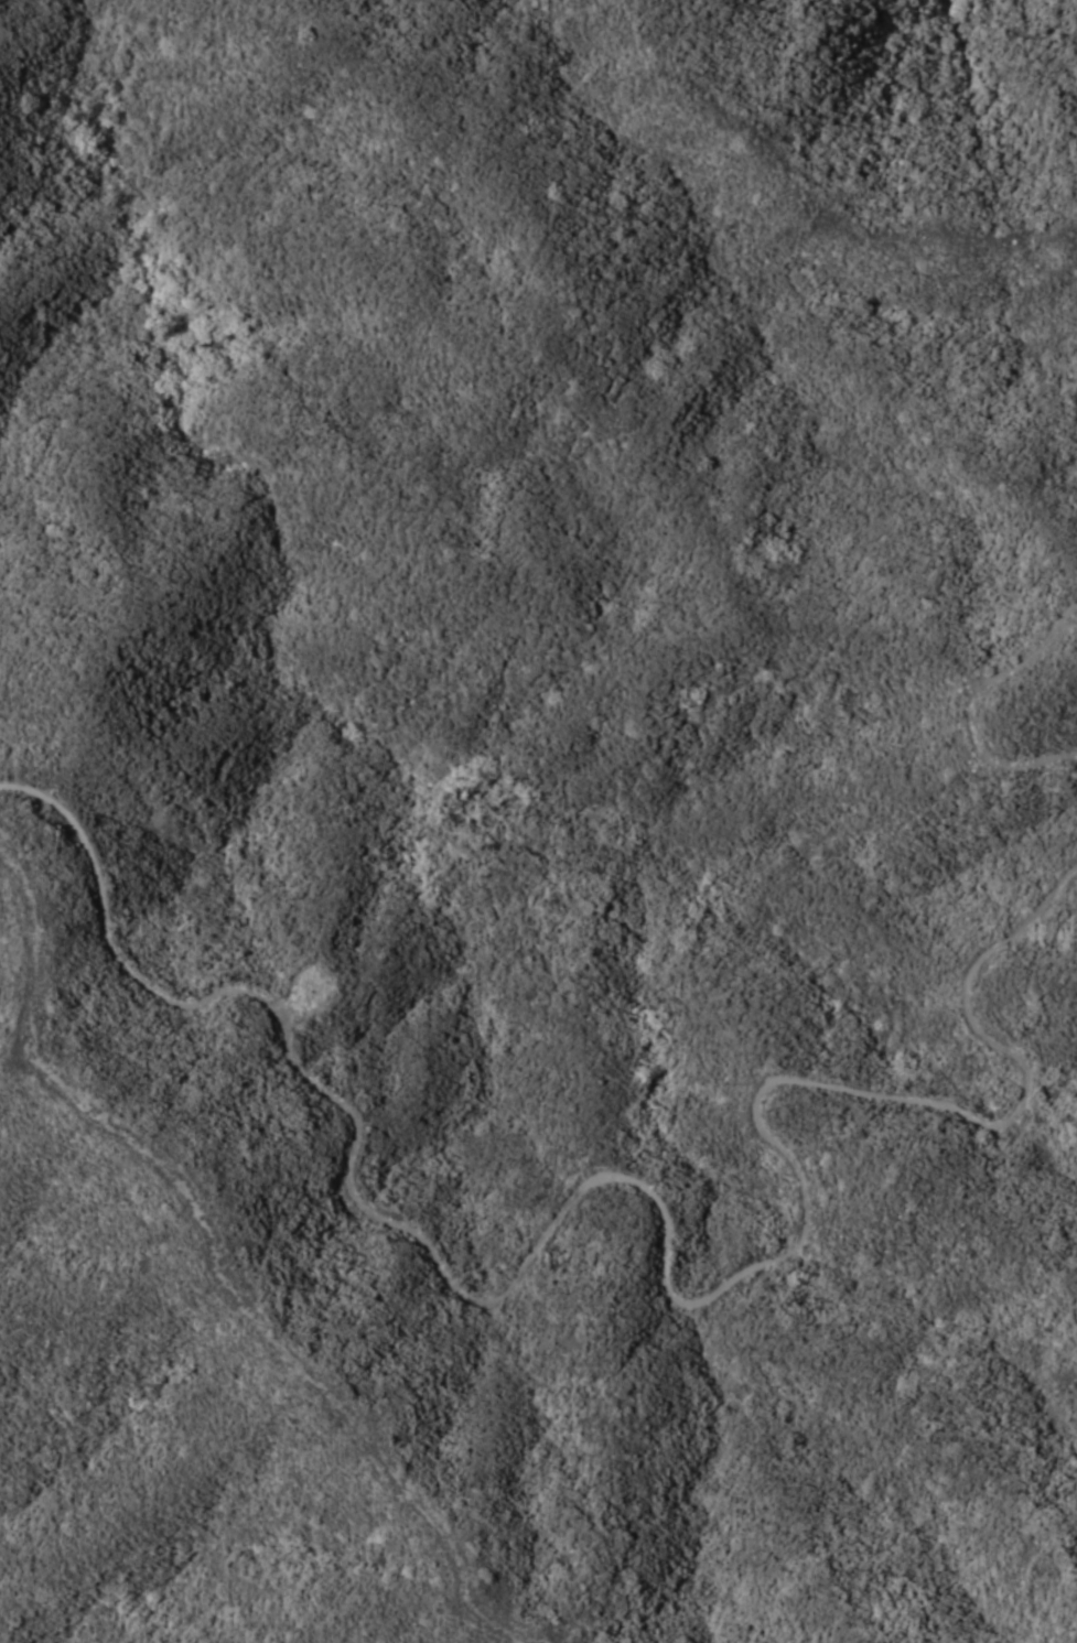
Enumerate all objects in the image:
road: (969, 703)
road: (647, 1200)
road: (226, 1256)

